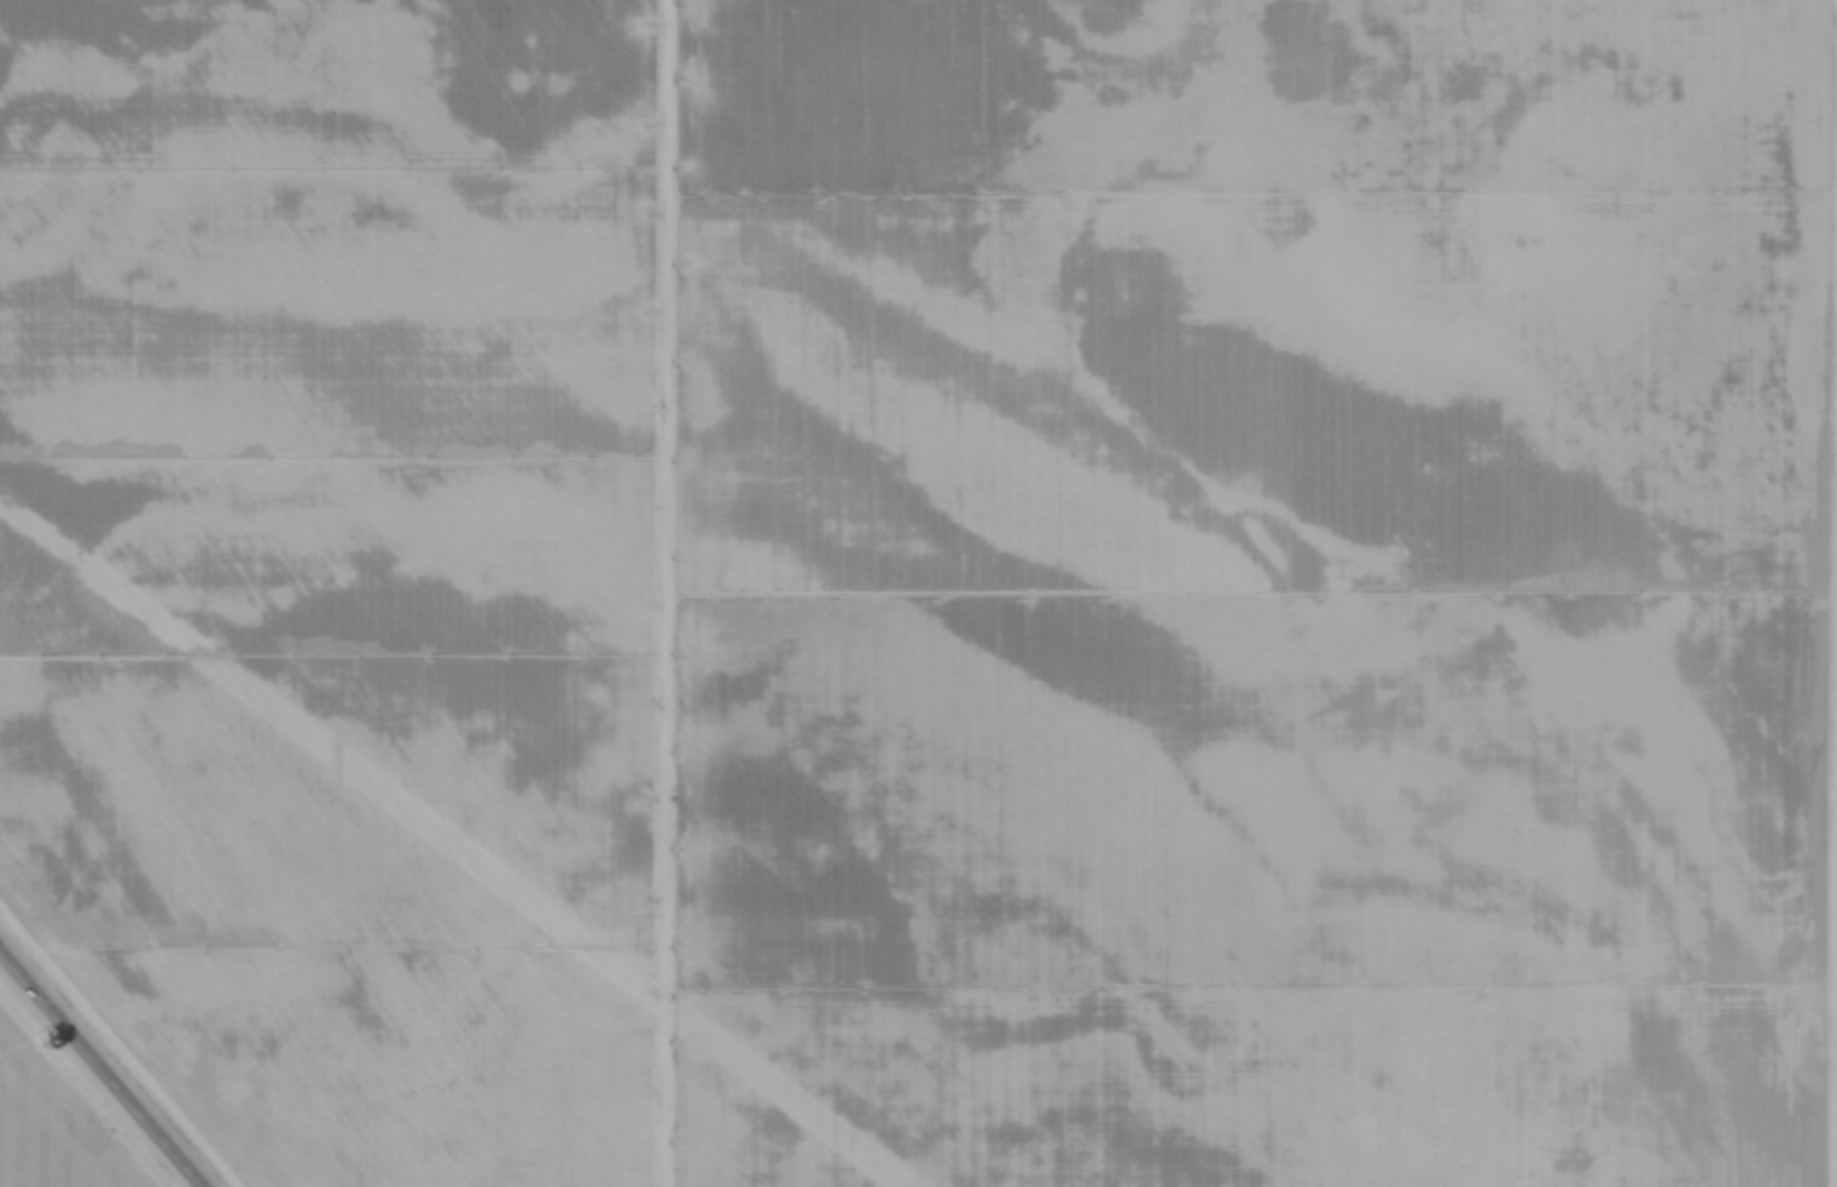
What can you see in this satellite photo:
road: (100, 1067)

